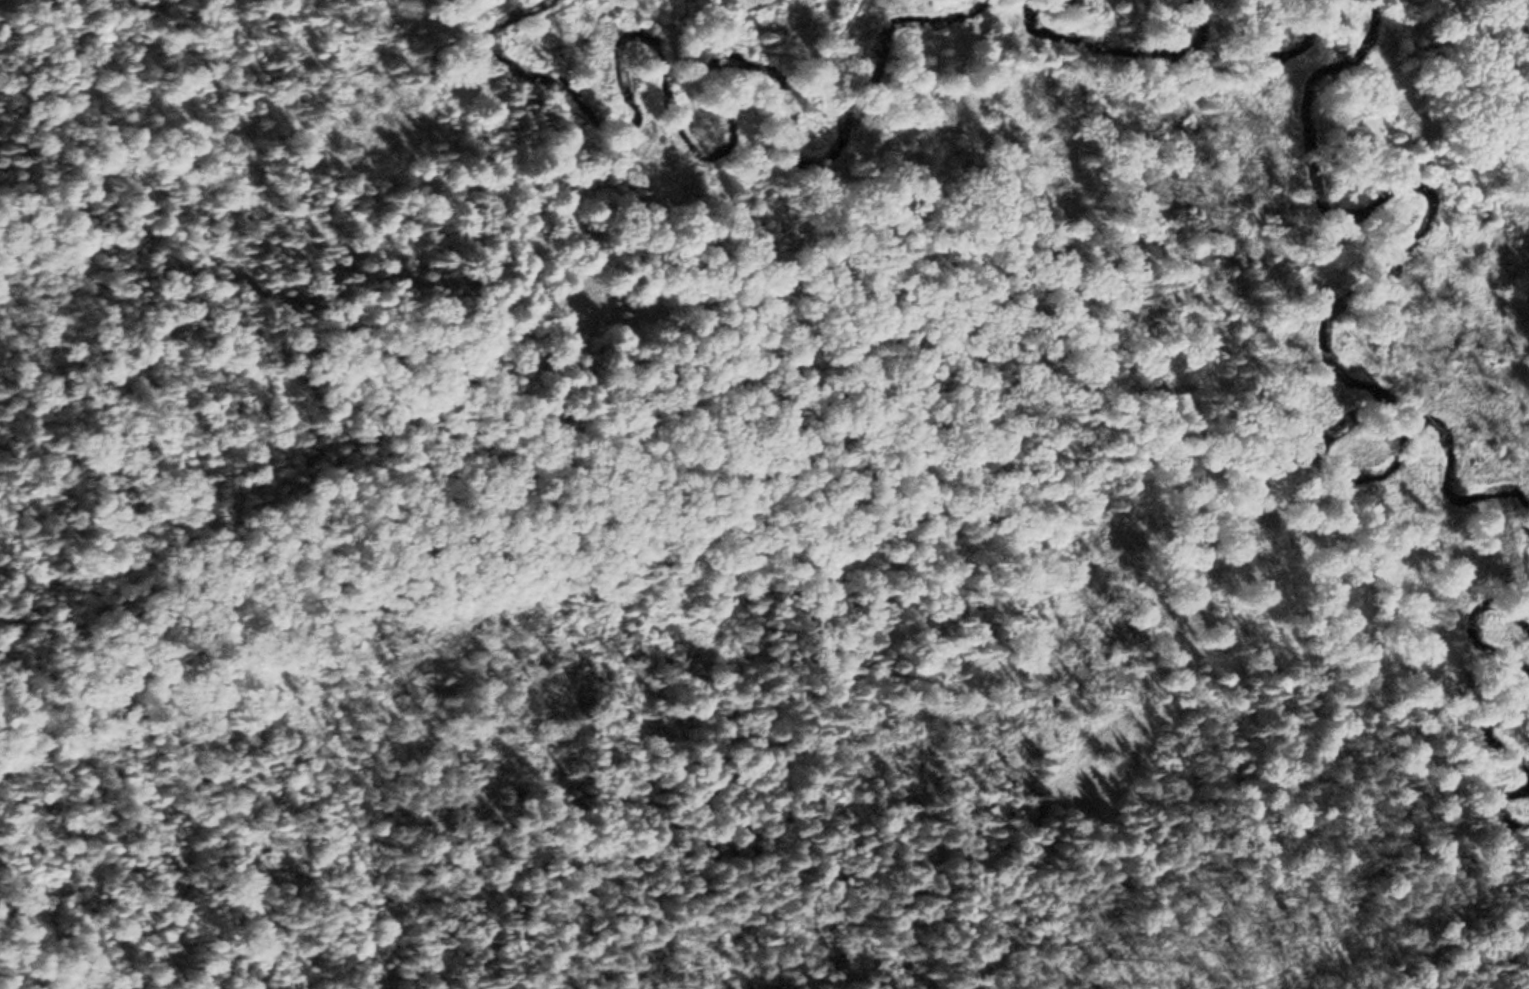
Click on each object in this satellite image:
railway: (1516, 21)

